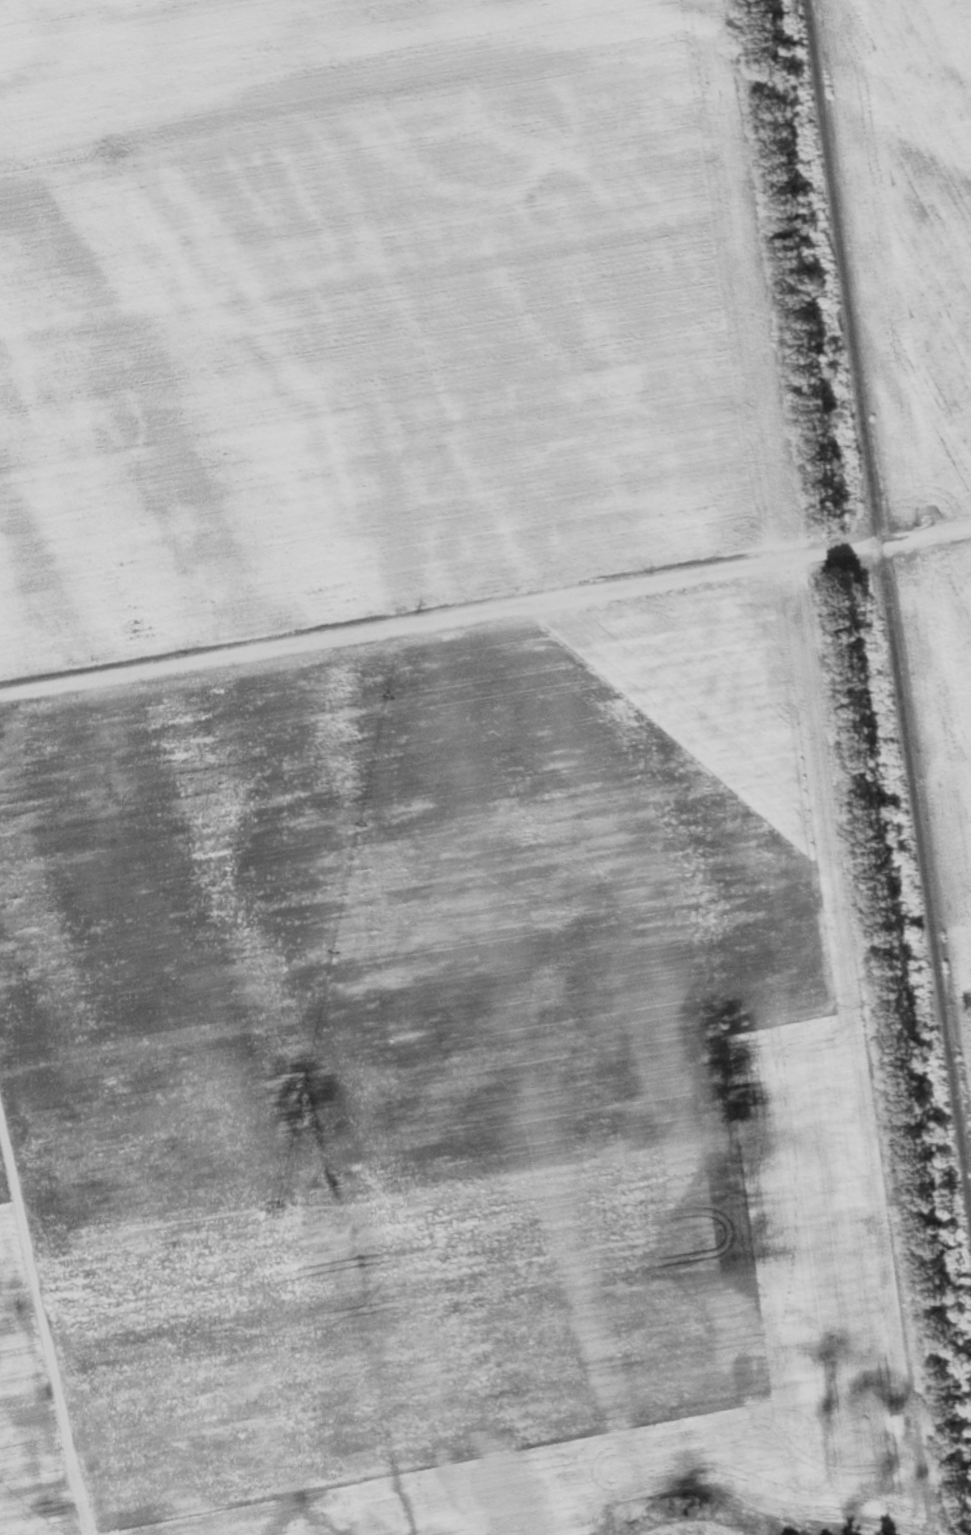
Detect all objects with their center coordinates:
road: (485, 611)
railway: (888, 611)
road: (45, 1330)

